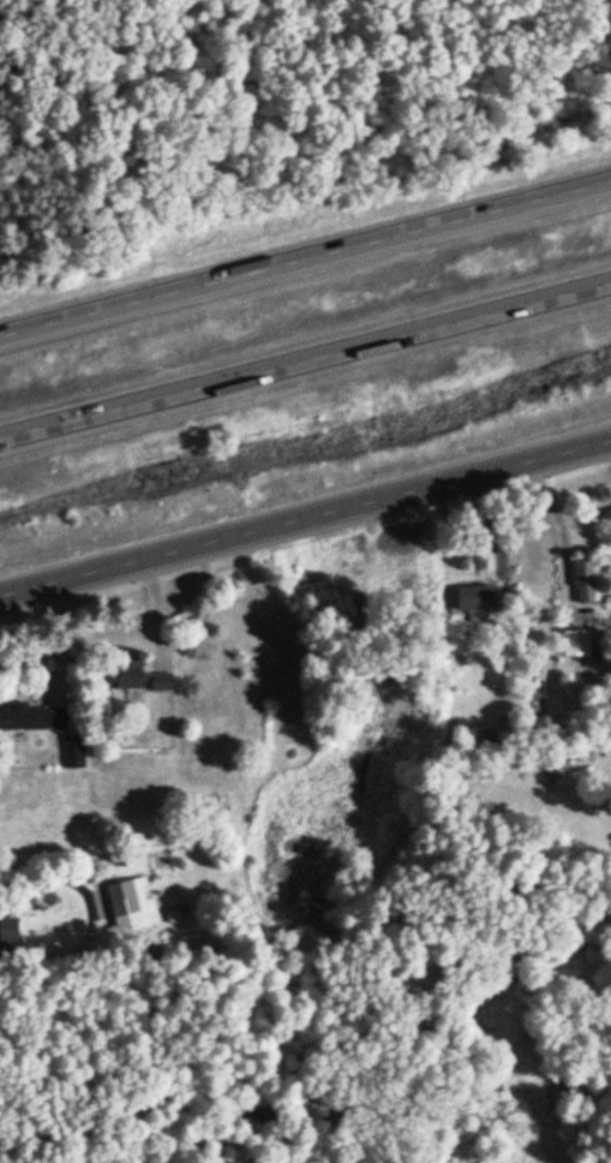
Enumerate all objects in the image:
road: (305, 269)
road: (305, 372)
road: (305, 531)
building: (586, 583)
building: (481, 598)
building: (579, 644)
building: (139, 678)
building: (35, 717)
road: (43, 875)
building: (132, 906)
building: (11, 931)

